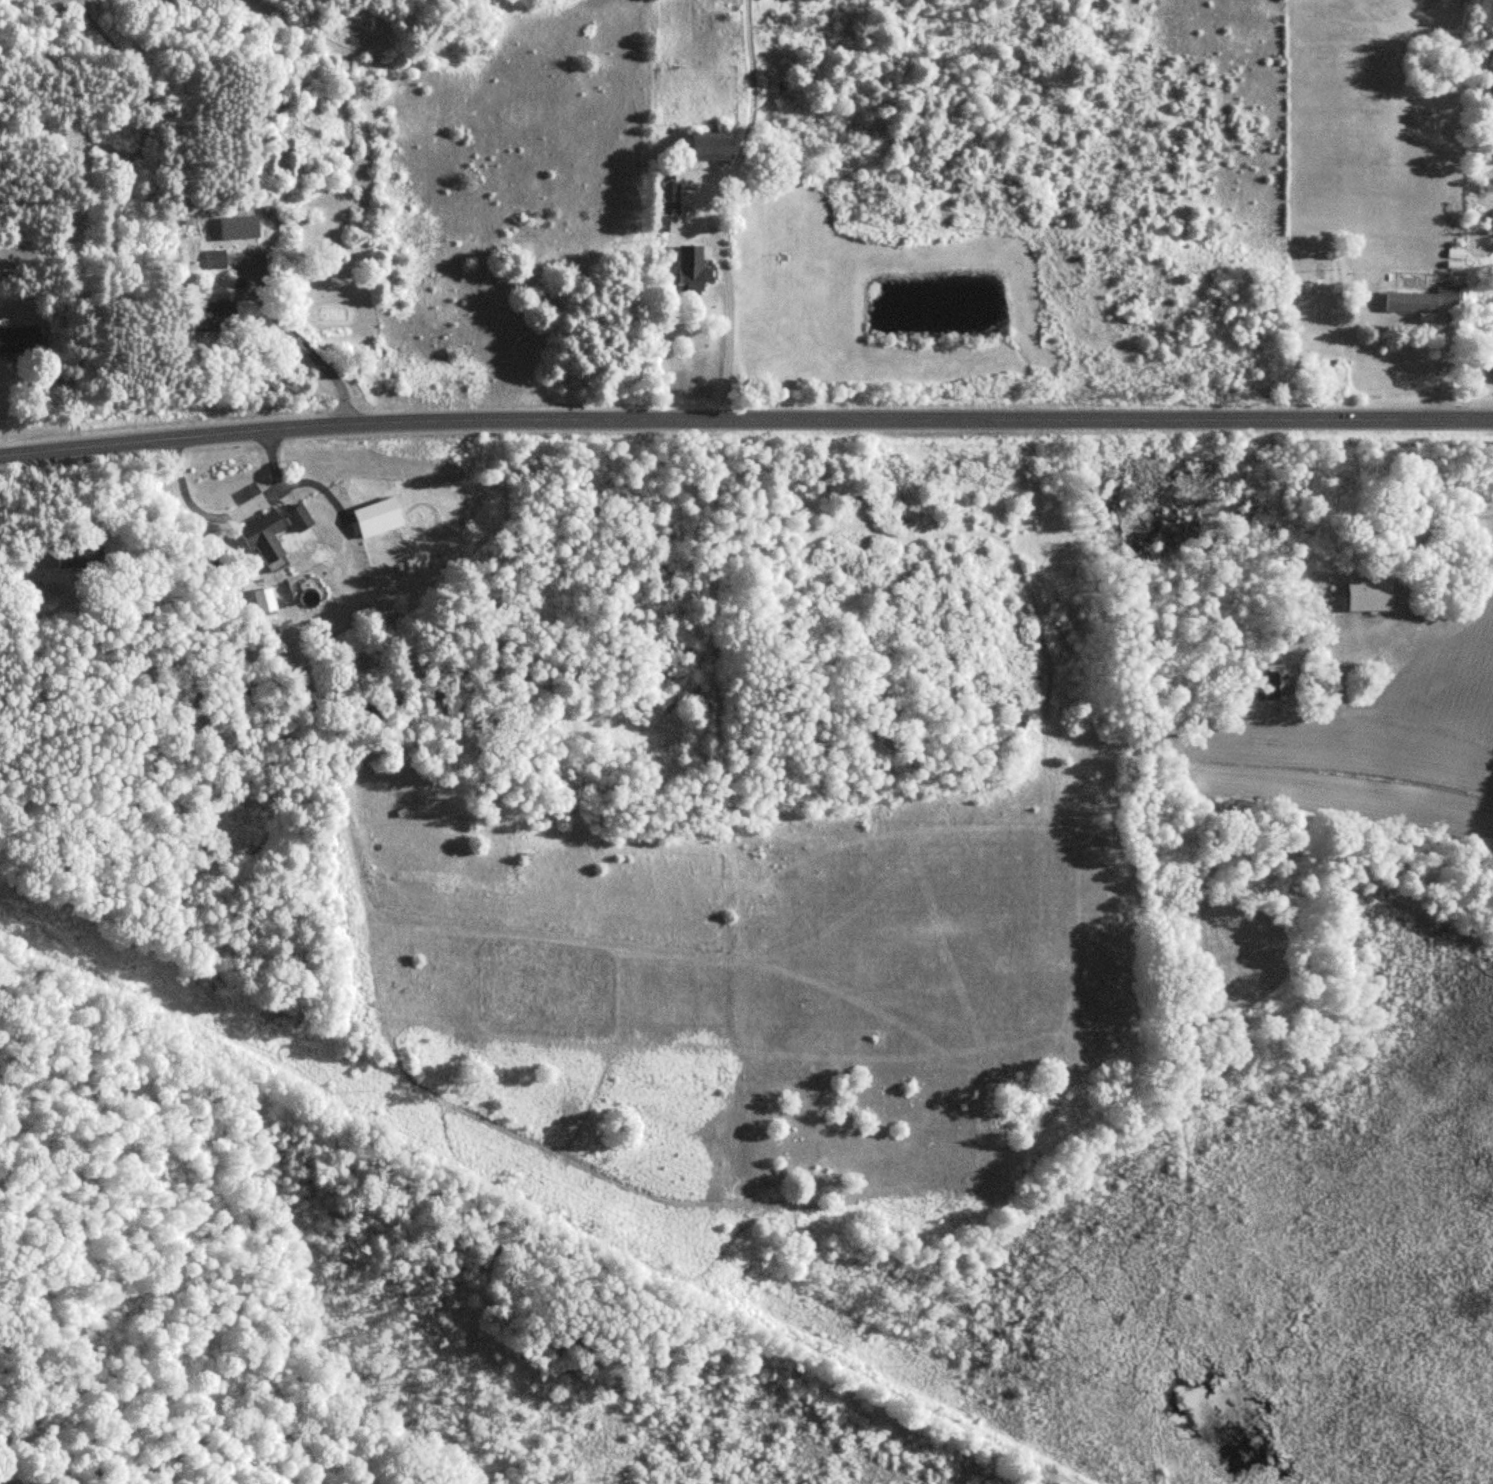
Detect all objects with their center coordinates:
building: (713, 149)
building: (216, 260)
building: (689, 267)
building: (1419, 301)
building: (216, 318)
building: (21, 340)
road: (745, 418)
building: (300, 518)
building: (265, 536)
building: (1370, 595)
building: (263, 600)
building: (1274, 685)

